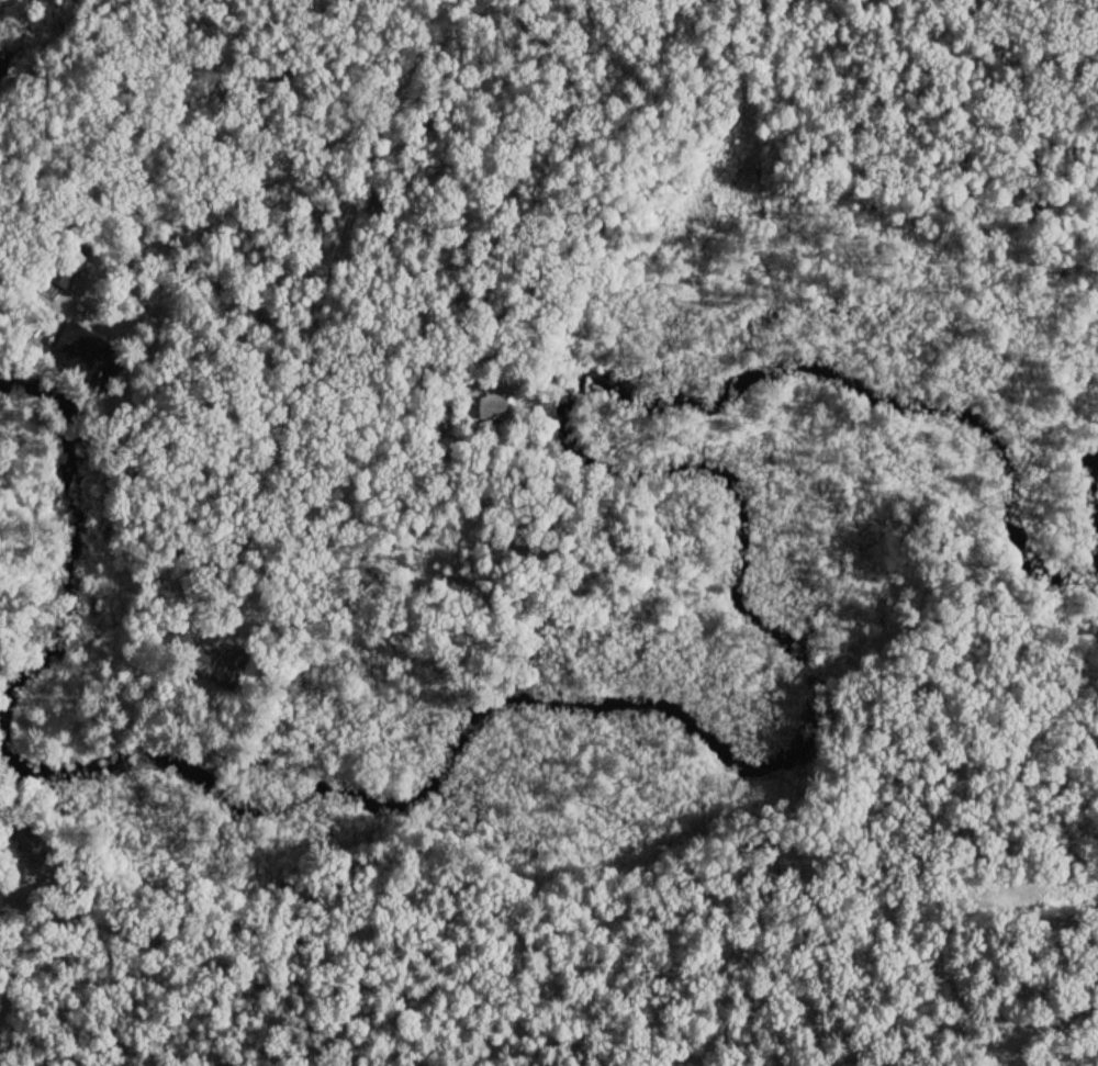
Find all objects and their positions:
road: (16, 18)
road: (145, 91)
road: (348, 133)
road: (640, 209)
road: (205, 460)
river: (424, 676)

